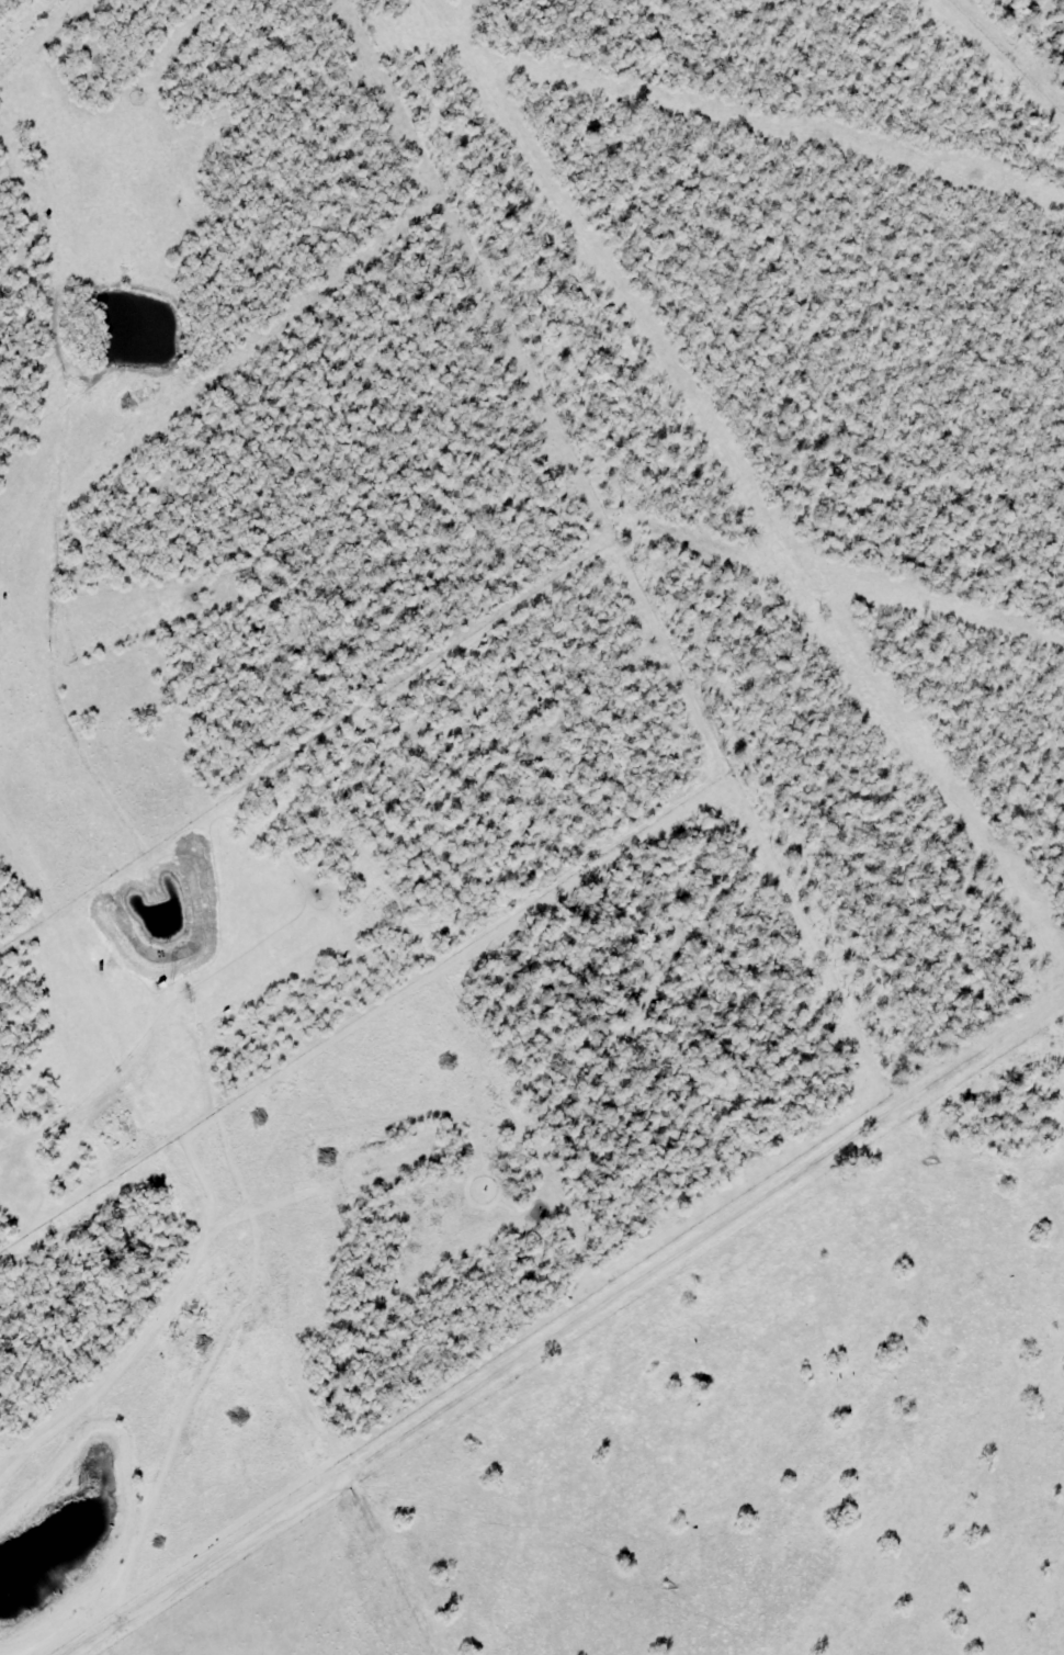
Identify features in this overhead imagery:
building: (35, 1542)

